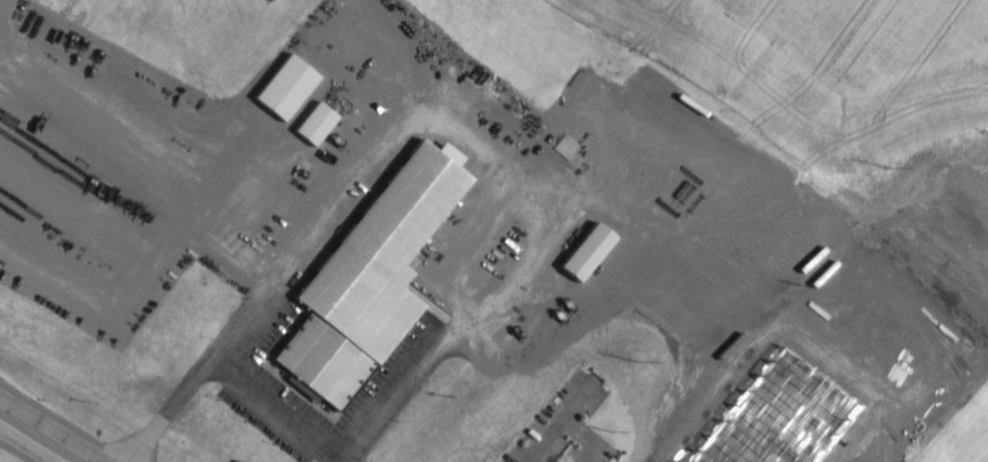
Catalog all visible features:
building: (285, 88)
building: (316, 125)
building: (586, 254)
building: (371, 282)
road: (39, 437)

